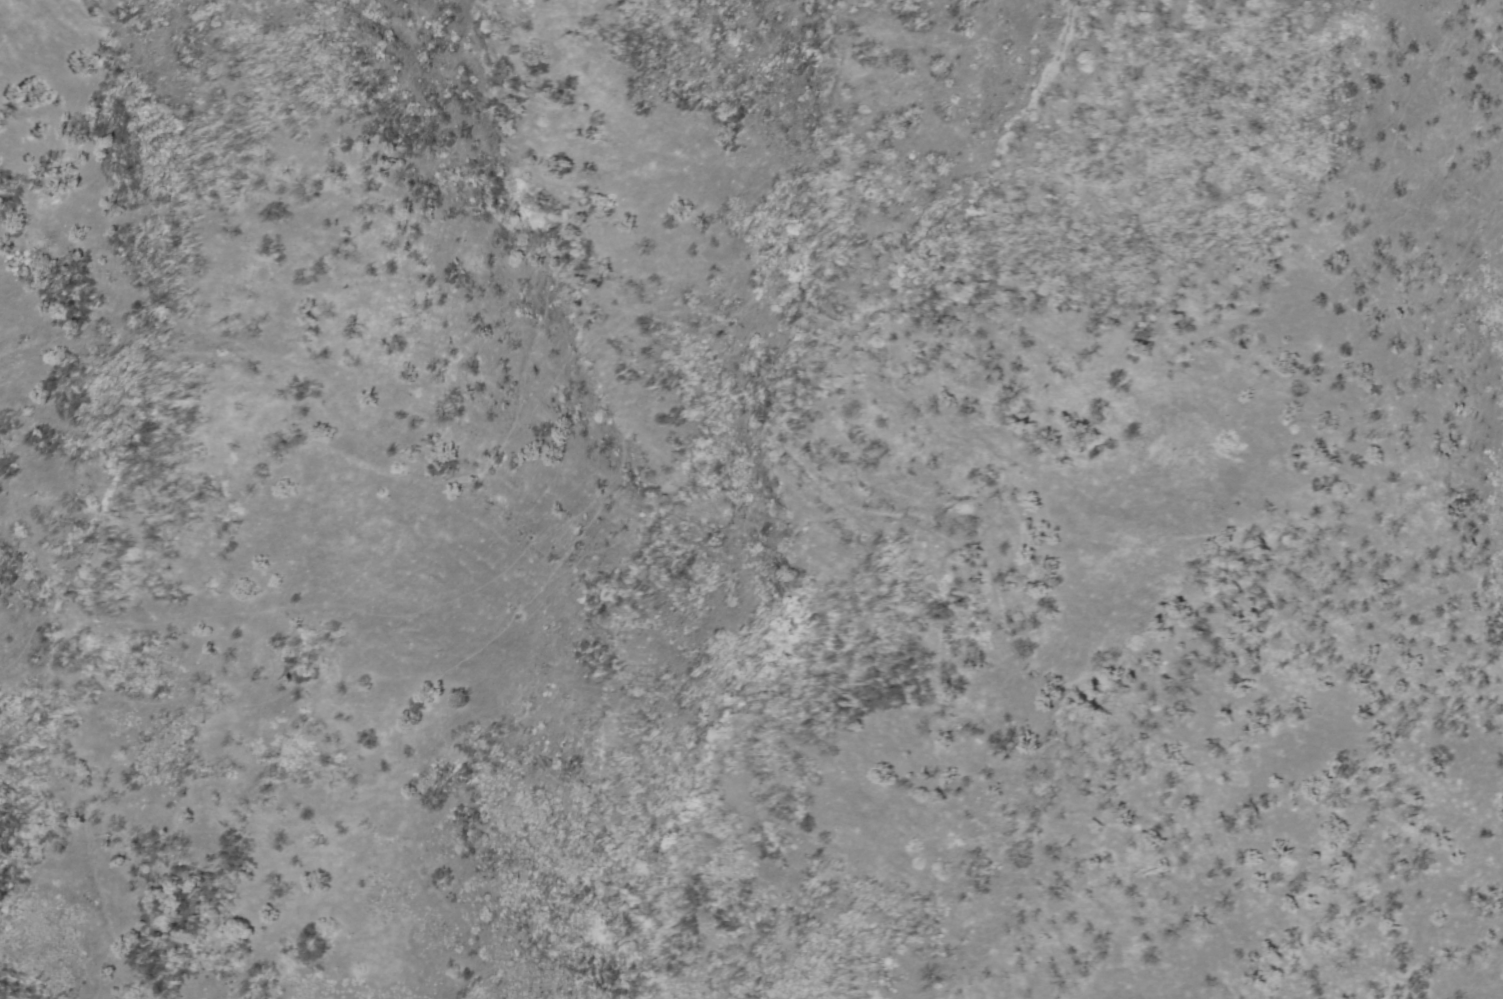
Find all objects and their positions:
road: (535, 306)
road: (1362, 365)
road: (592, 535)
road: (1216, 795)

